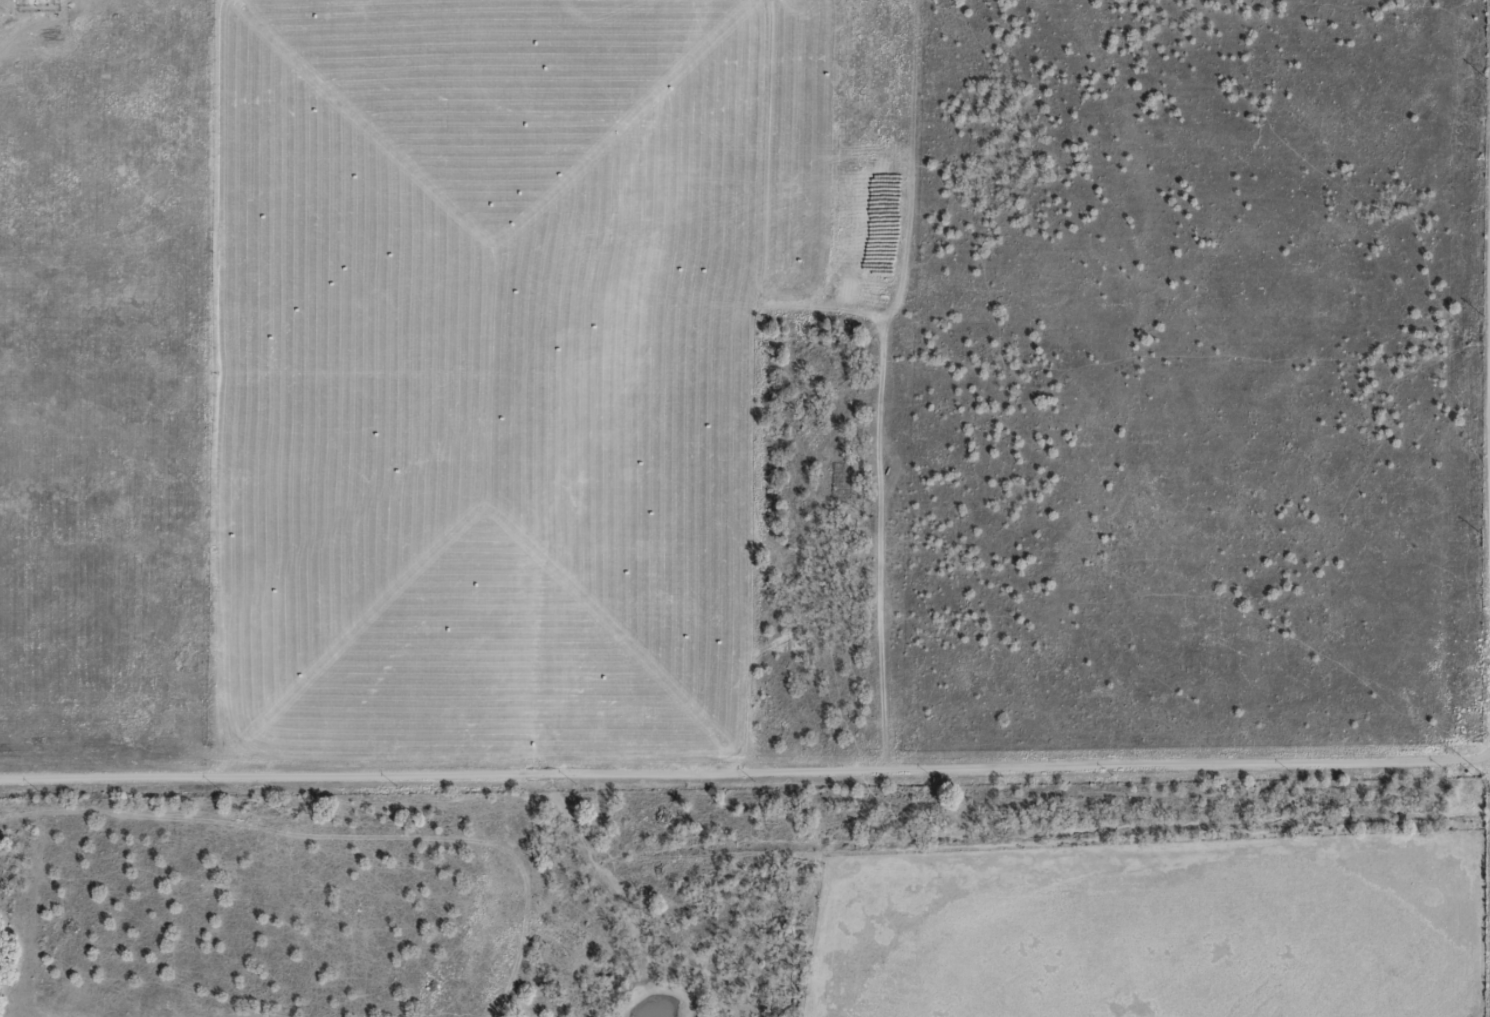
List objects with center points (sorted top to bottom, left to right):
road: (321, 831)

